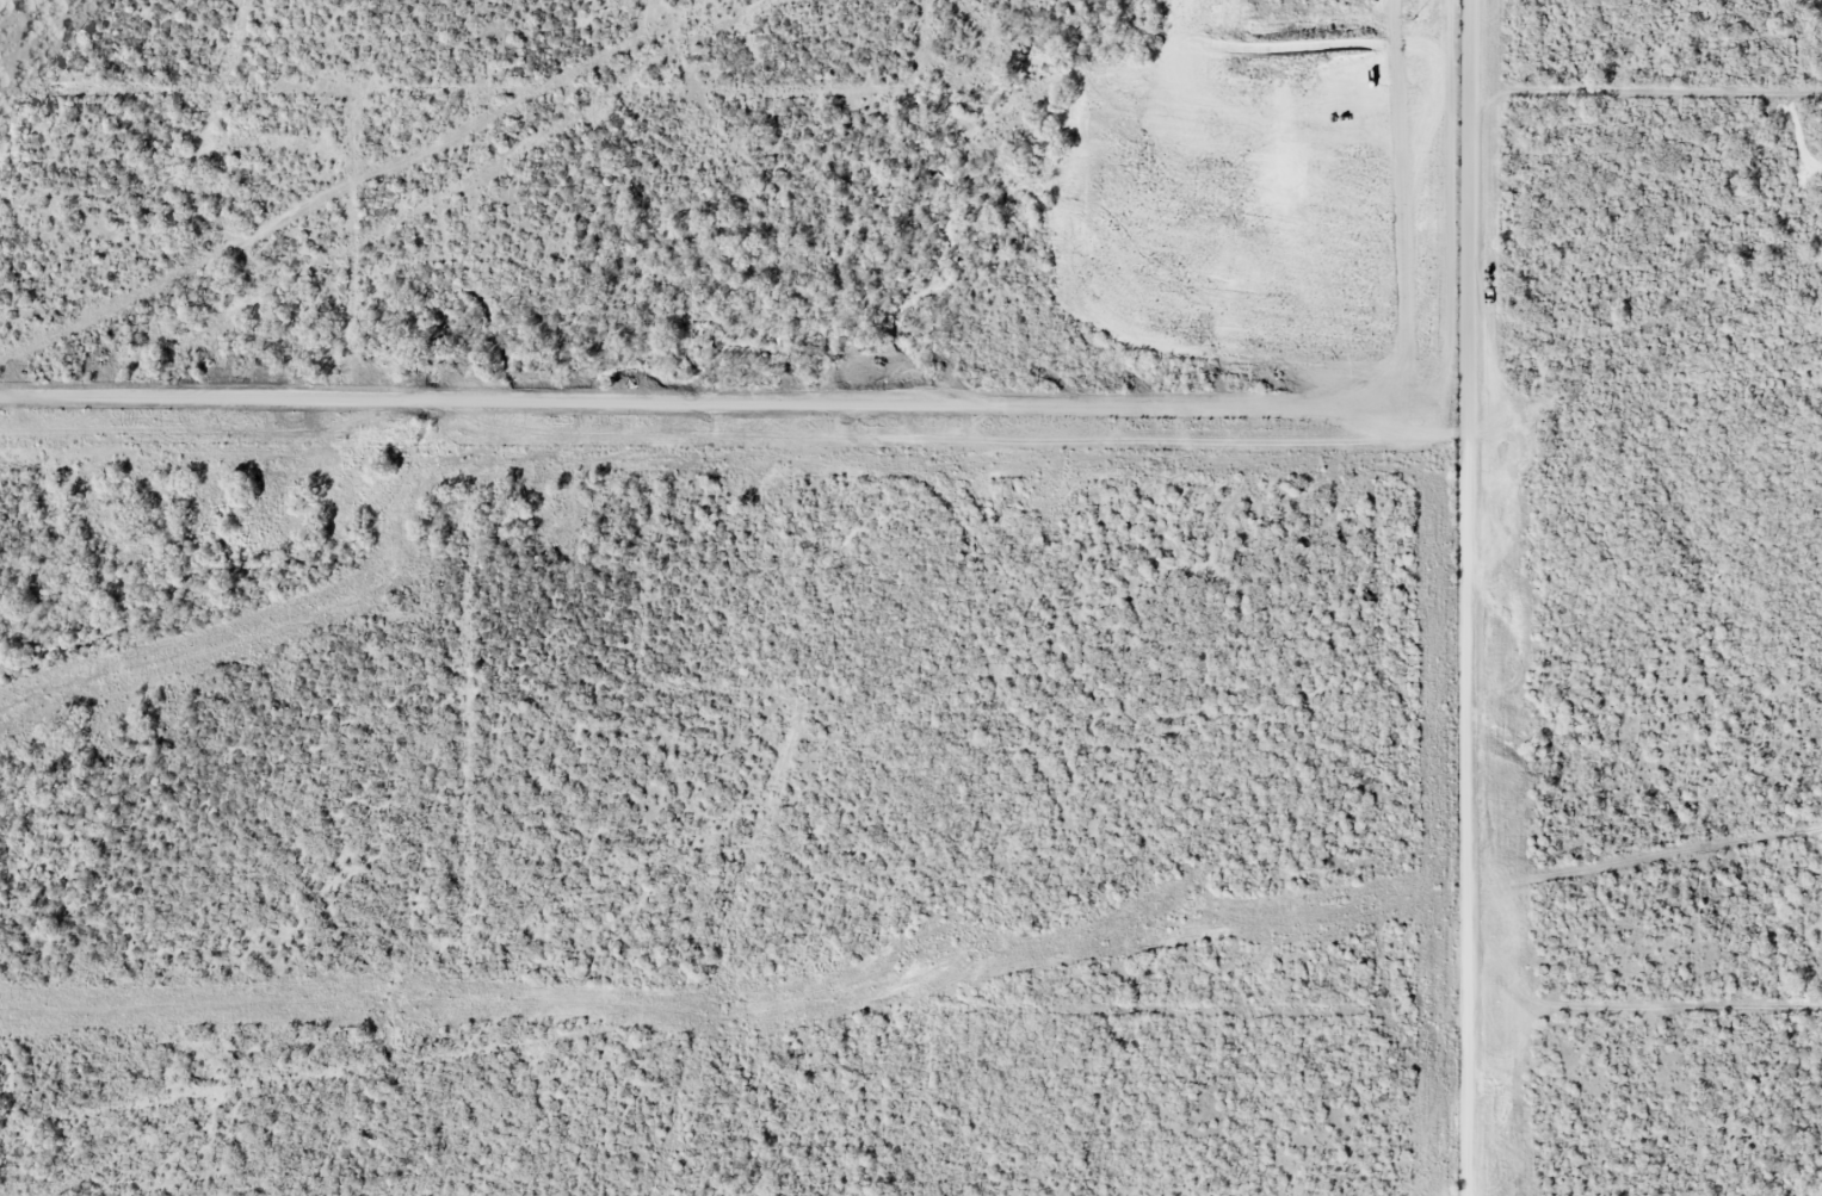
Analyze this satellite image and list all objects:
road: (1377, 8)

